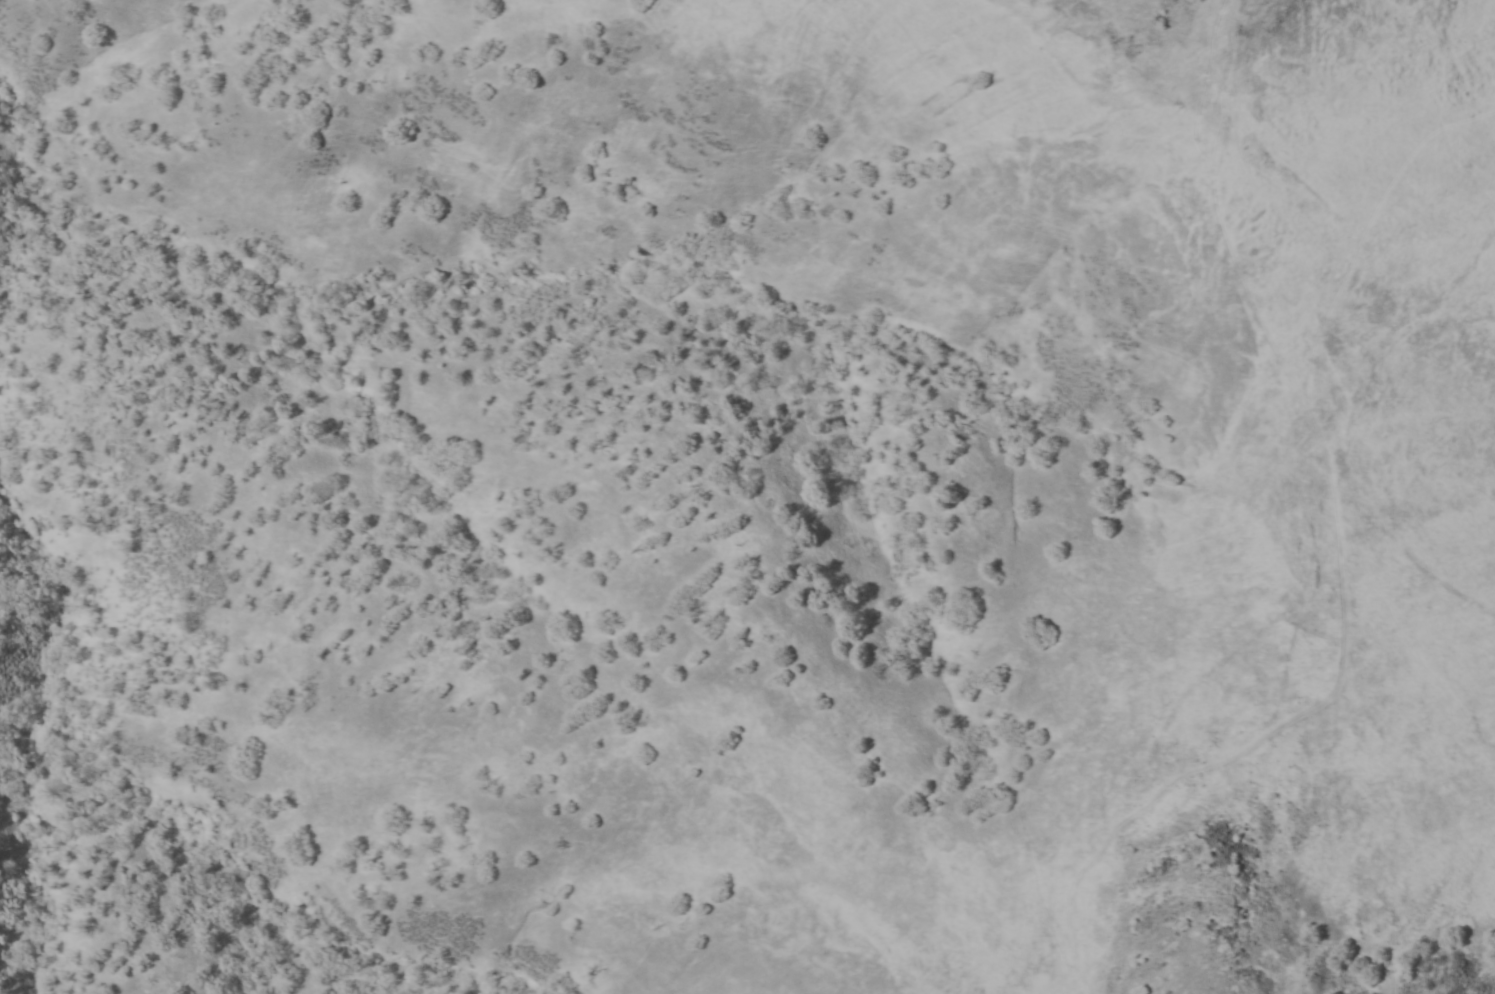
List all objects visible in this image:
road: (1211, 166)
road: (1305, 711)

